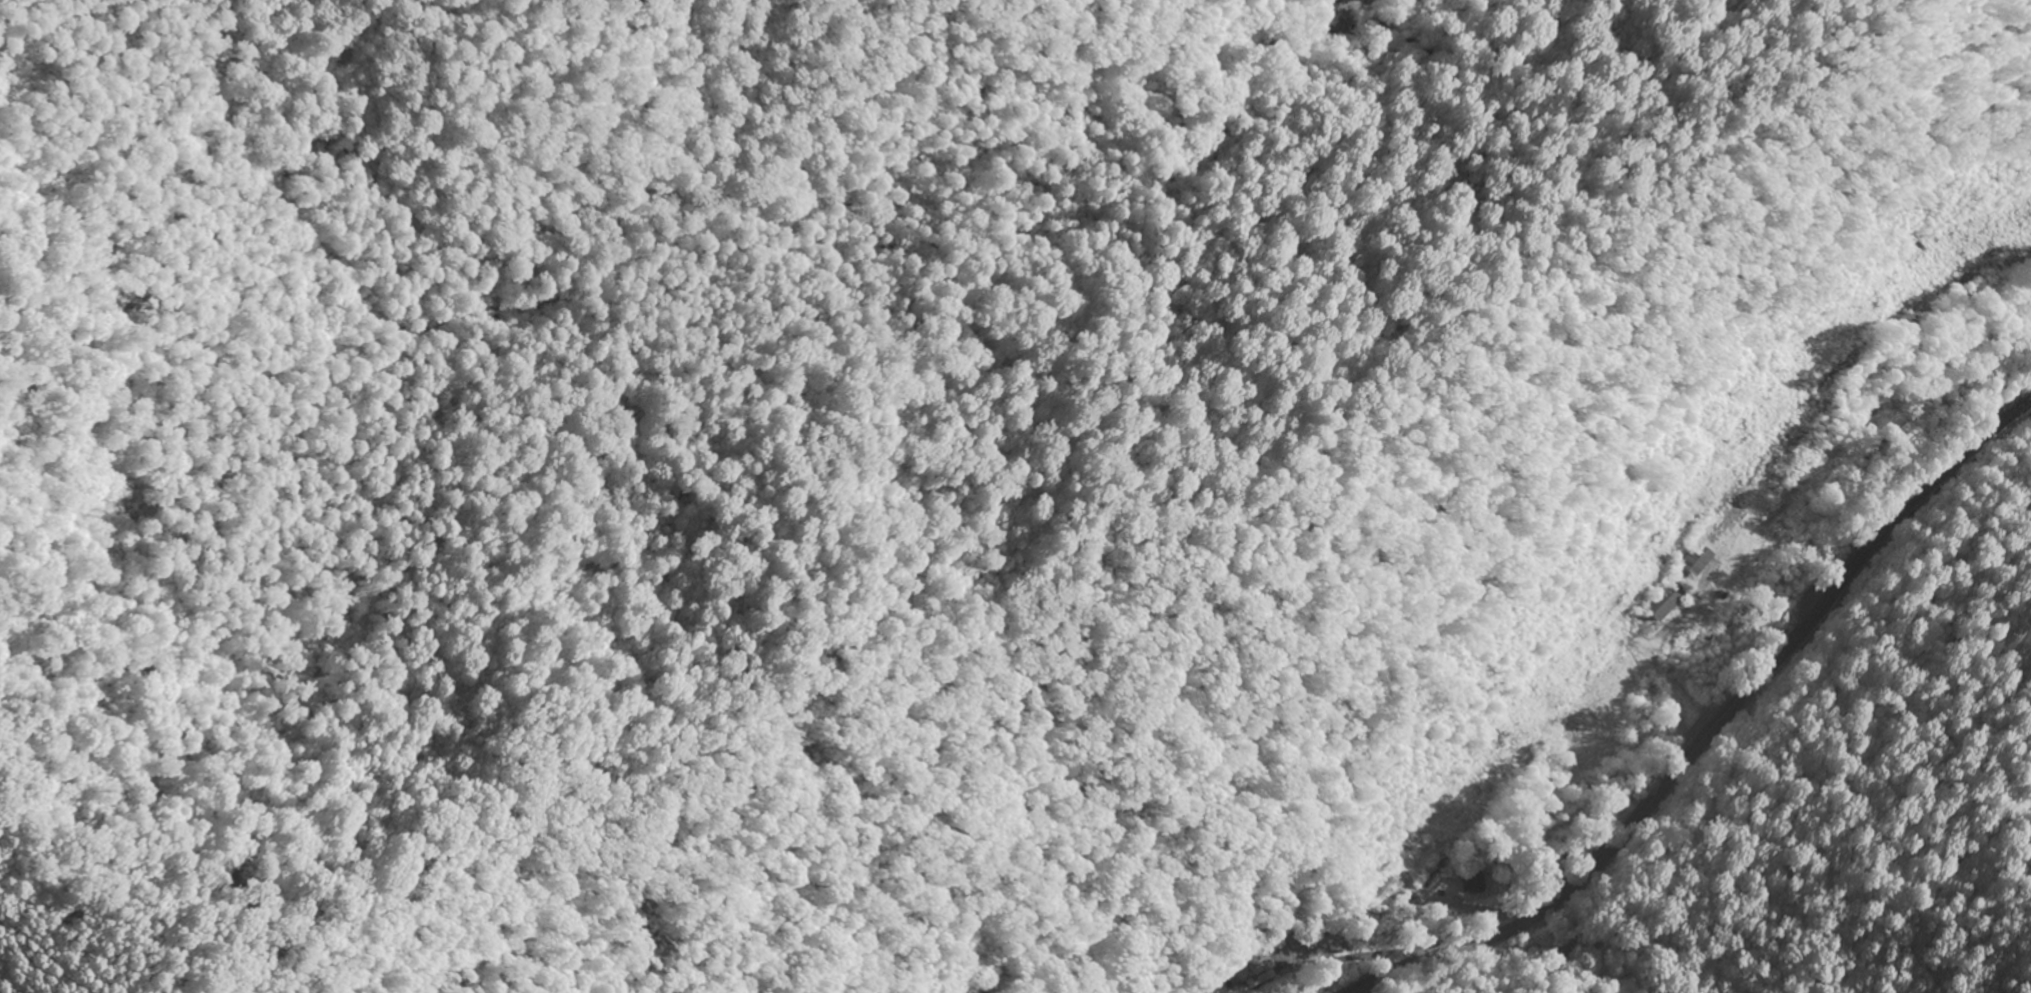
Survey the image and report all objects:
building: (1698, 560)
building: (1663, 601)
road: (1707, 726)
building: (1468, 883)

